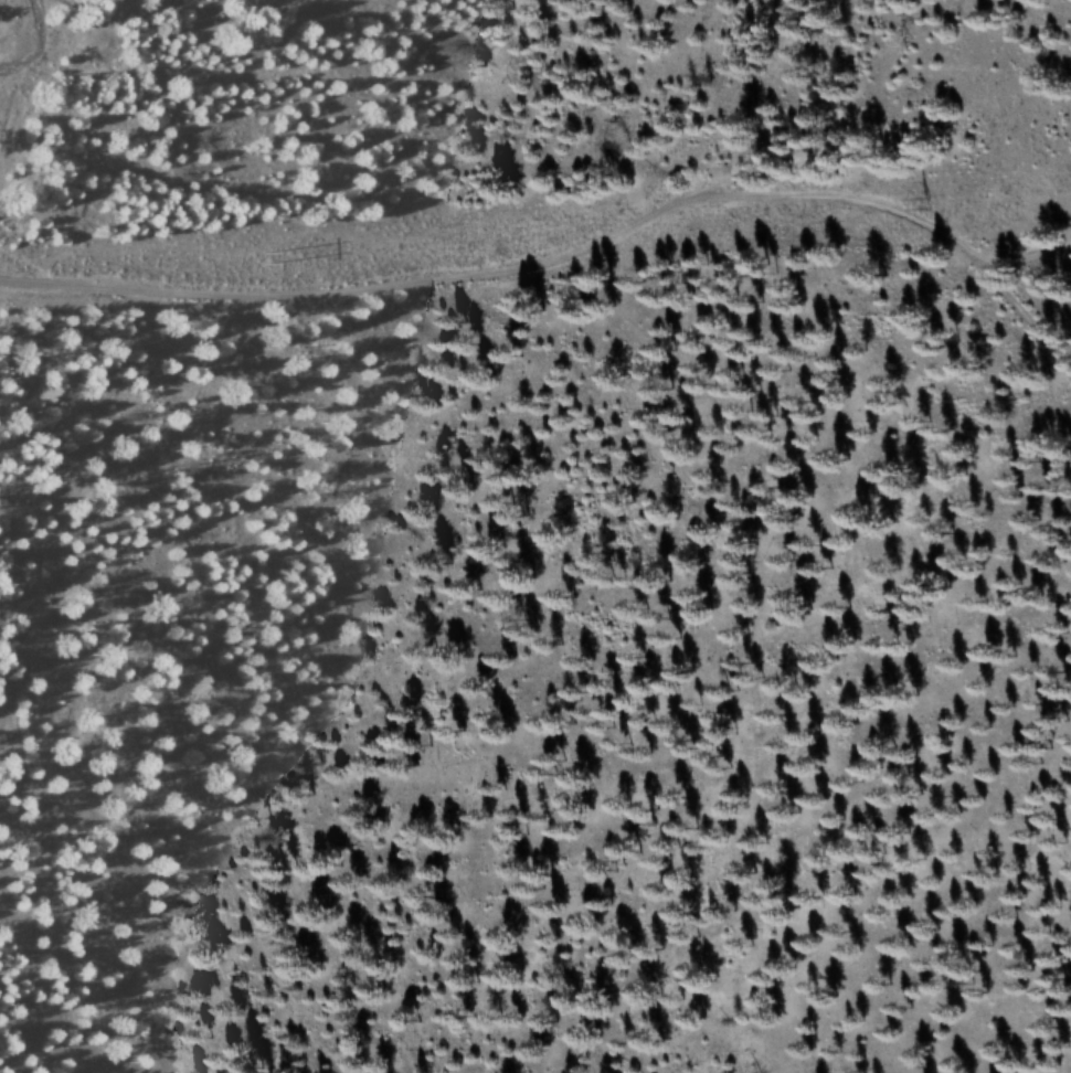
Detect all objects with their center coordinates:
road: (863, 73)
power tower: (927, 200)
power tower: (172, 264)
road: (591, 280)

